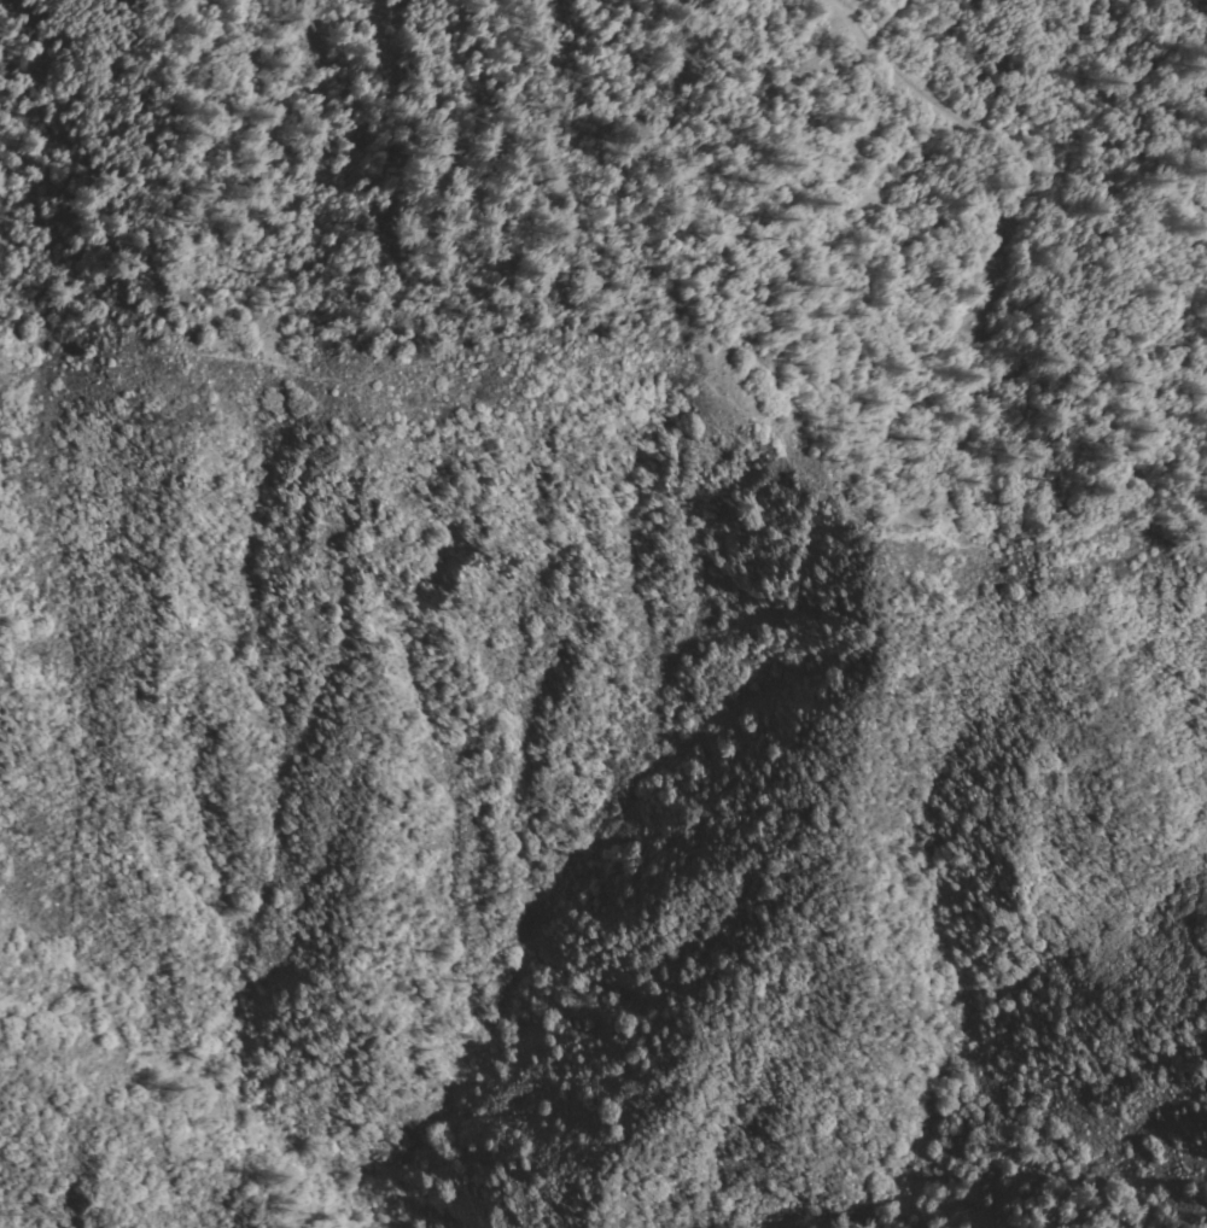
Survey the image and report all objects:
road: (649, 129)
road: (1001, 136)

